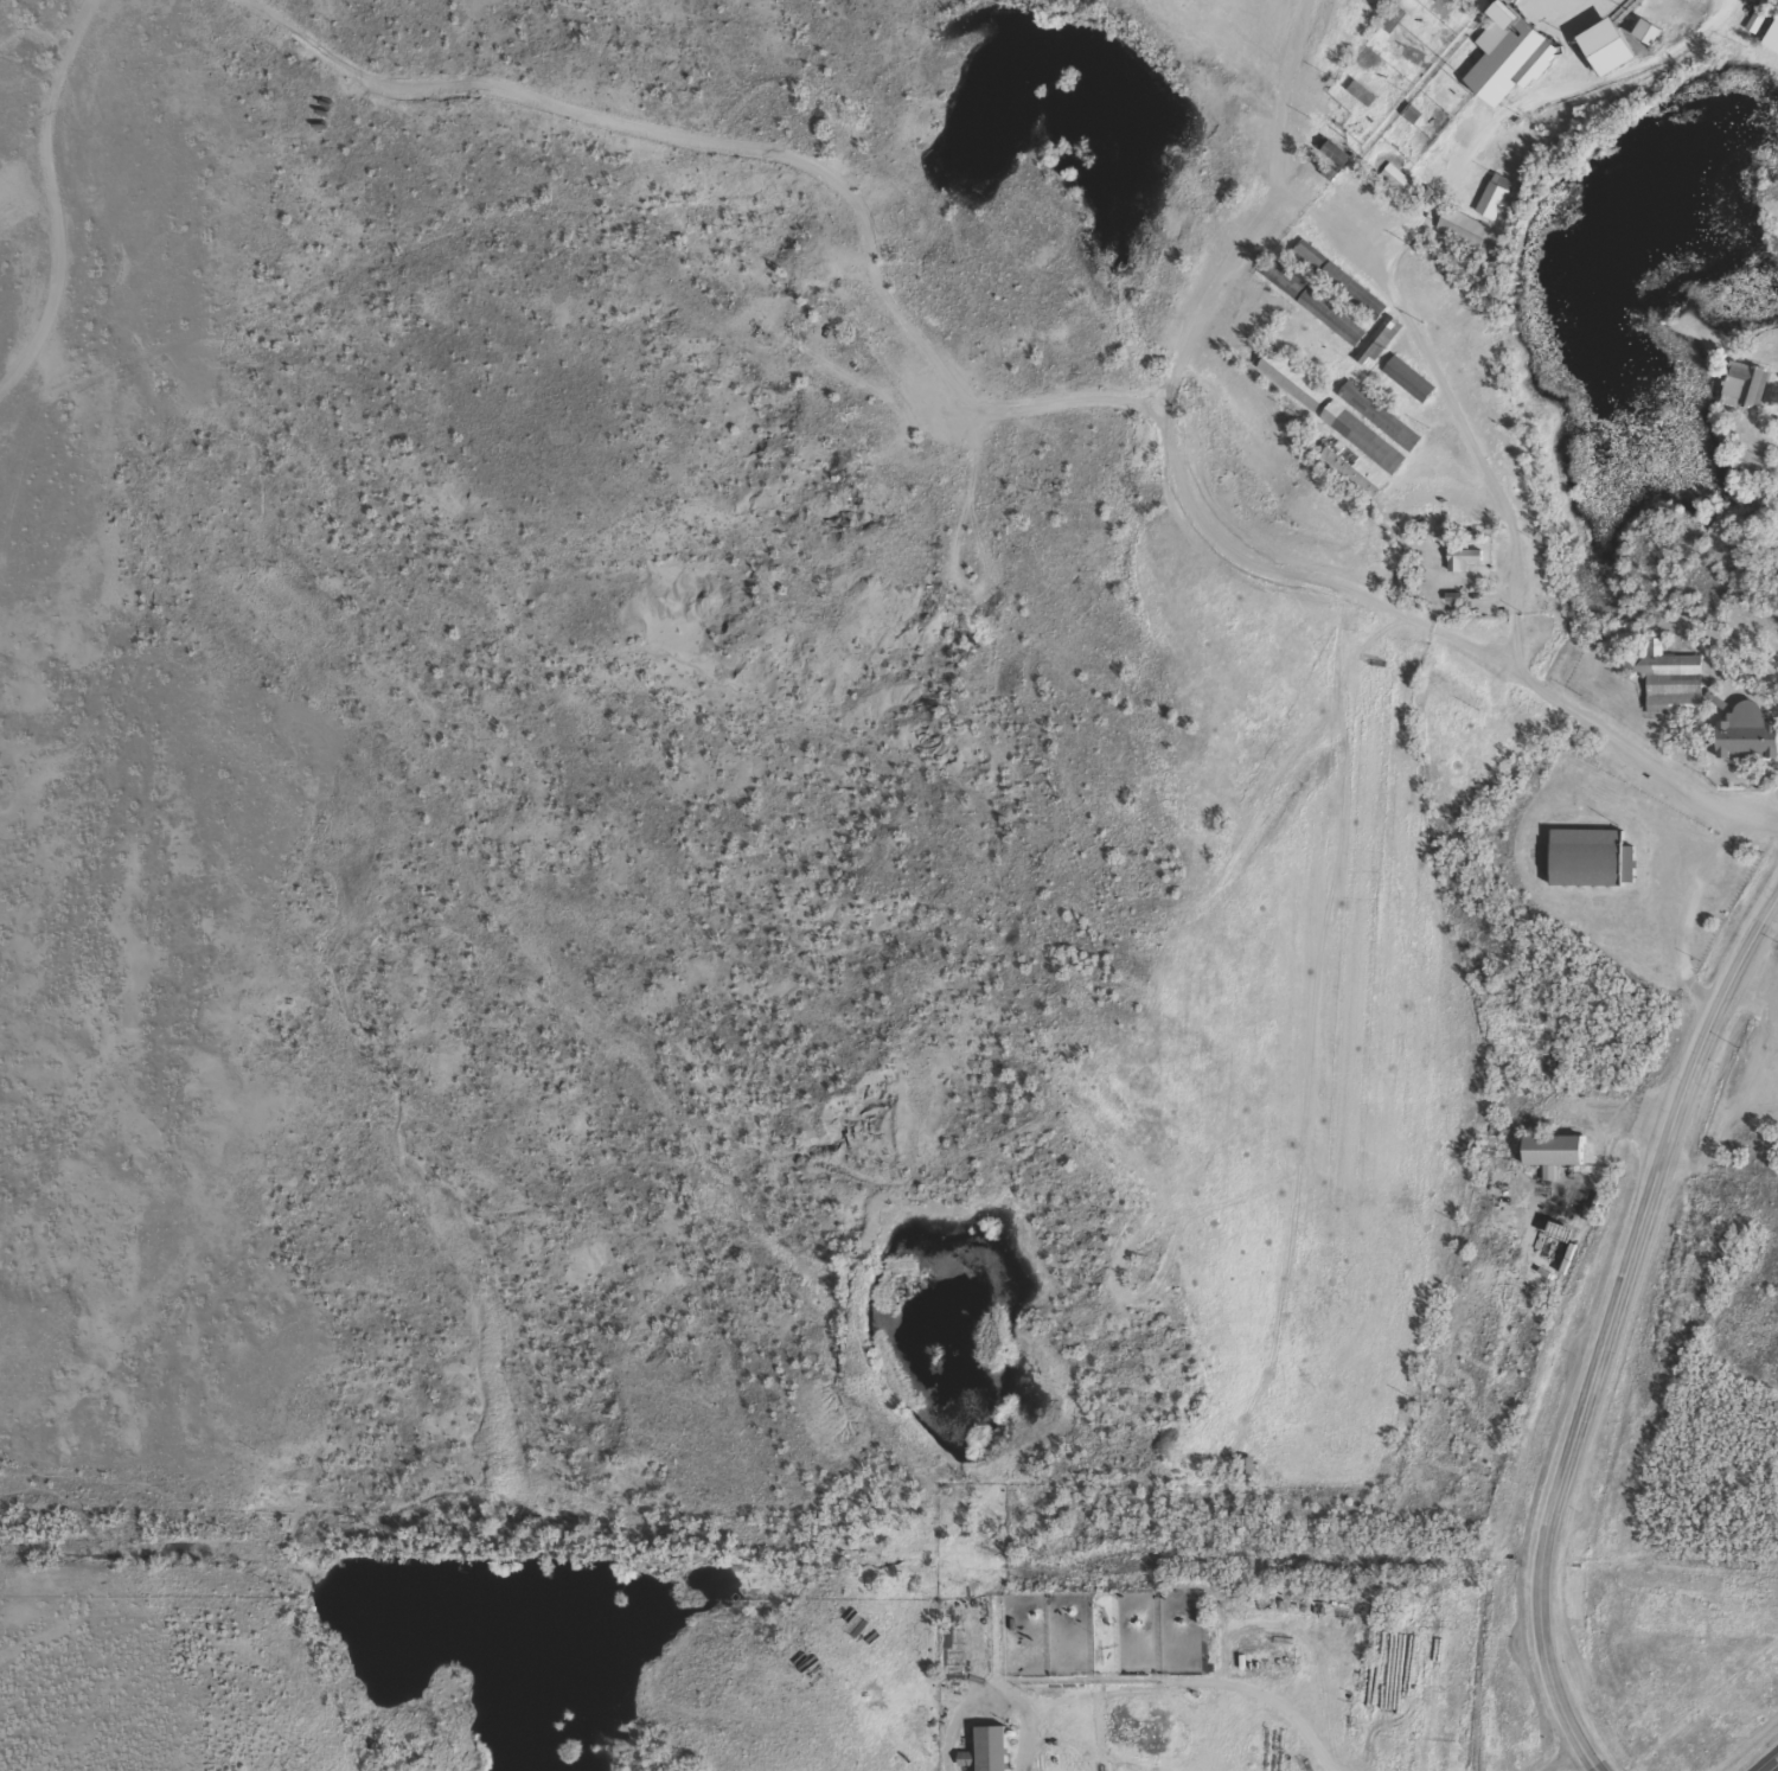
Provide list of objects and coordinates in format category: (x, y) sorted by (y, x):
building: (1754, 28)
building: (1645, 40)
building: (1772, 49)
building: (1605, 56)
building: (1508, 65)
road: (1285, 97)
building: (1360, 102)
road: (1533, 106)
building: (1331, 160)
building: (1393, 187)
road: (829, 191)
building: (1491, 205)
building: (1459, 237)
building: (1309, 263)
building: (1343, 287)
building: (1283, 288)
building: (1330, 326)
building: (1375, 352)
building: (1407, 388)
building: (1291, 390)
building: (1742, 395)
building: (1377, 426)
road: (1465, 439)
building: (1360, 447)
road: (9, 478)
building: (1352, 479)
building: (1460, 568)
building: (1667, 689)
building: (1746, 743)
building: (1587, 868)
road: (1322, 999)
building: (1552, 1162)
road: (1716, 1166)
road: (1603, 1328)
railway: (889, 1545)
building: (990, 1753)
road: (1576, 1767)

